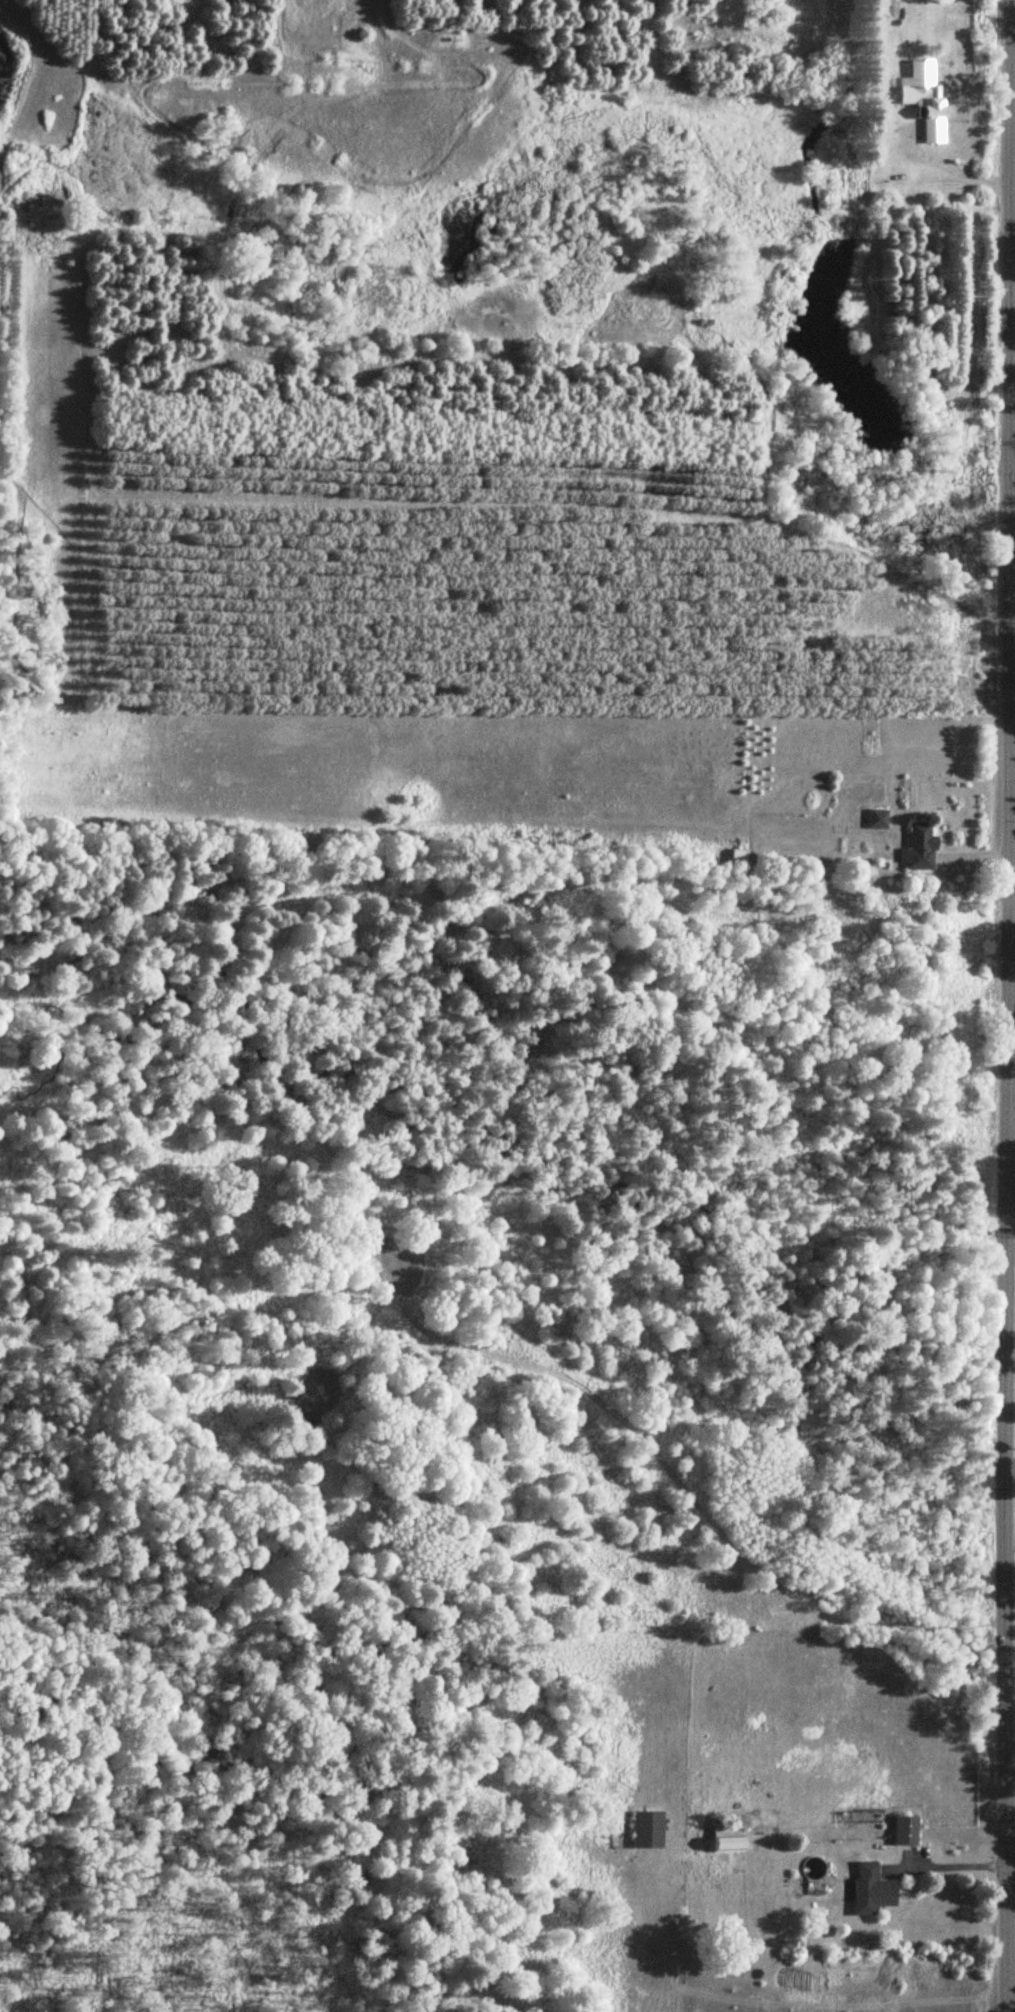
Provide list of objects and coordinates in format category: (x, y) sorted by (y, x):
road: (1014, 50)
building: (923, 101)
road: (940, 163)
building: (873, 819)
building: (915, 849)
building: (734, 855)
road: (1004, 1006)
road: (1008, 1385)
road: (1008, 1498)
building: (642, 1829)
building: (901, 1830)
building: (721, 1837)
road: (946, 1866)
building: (867, 1889)

